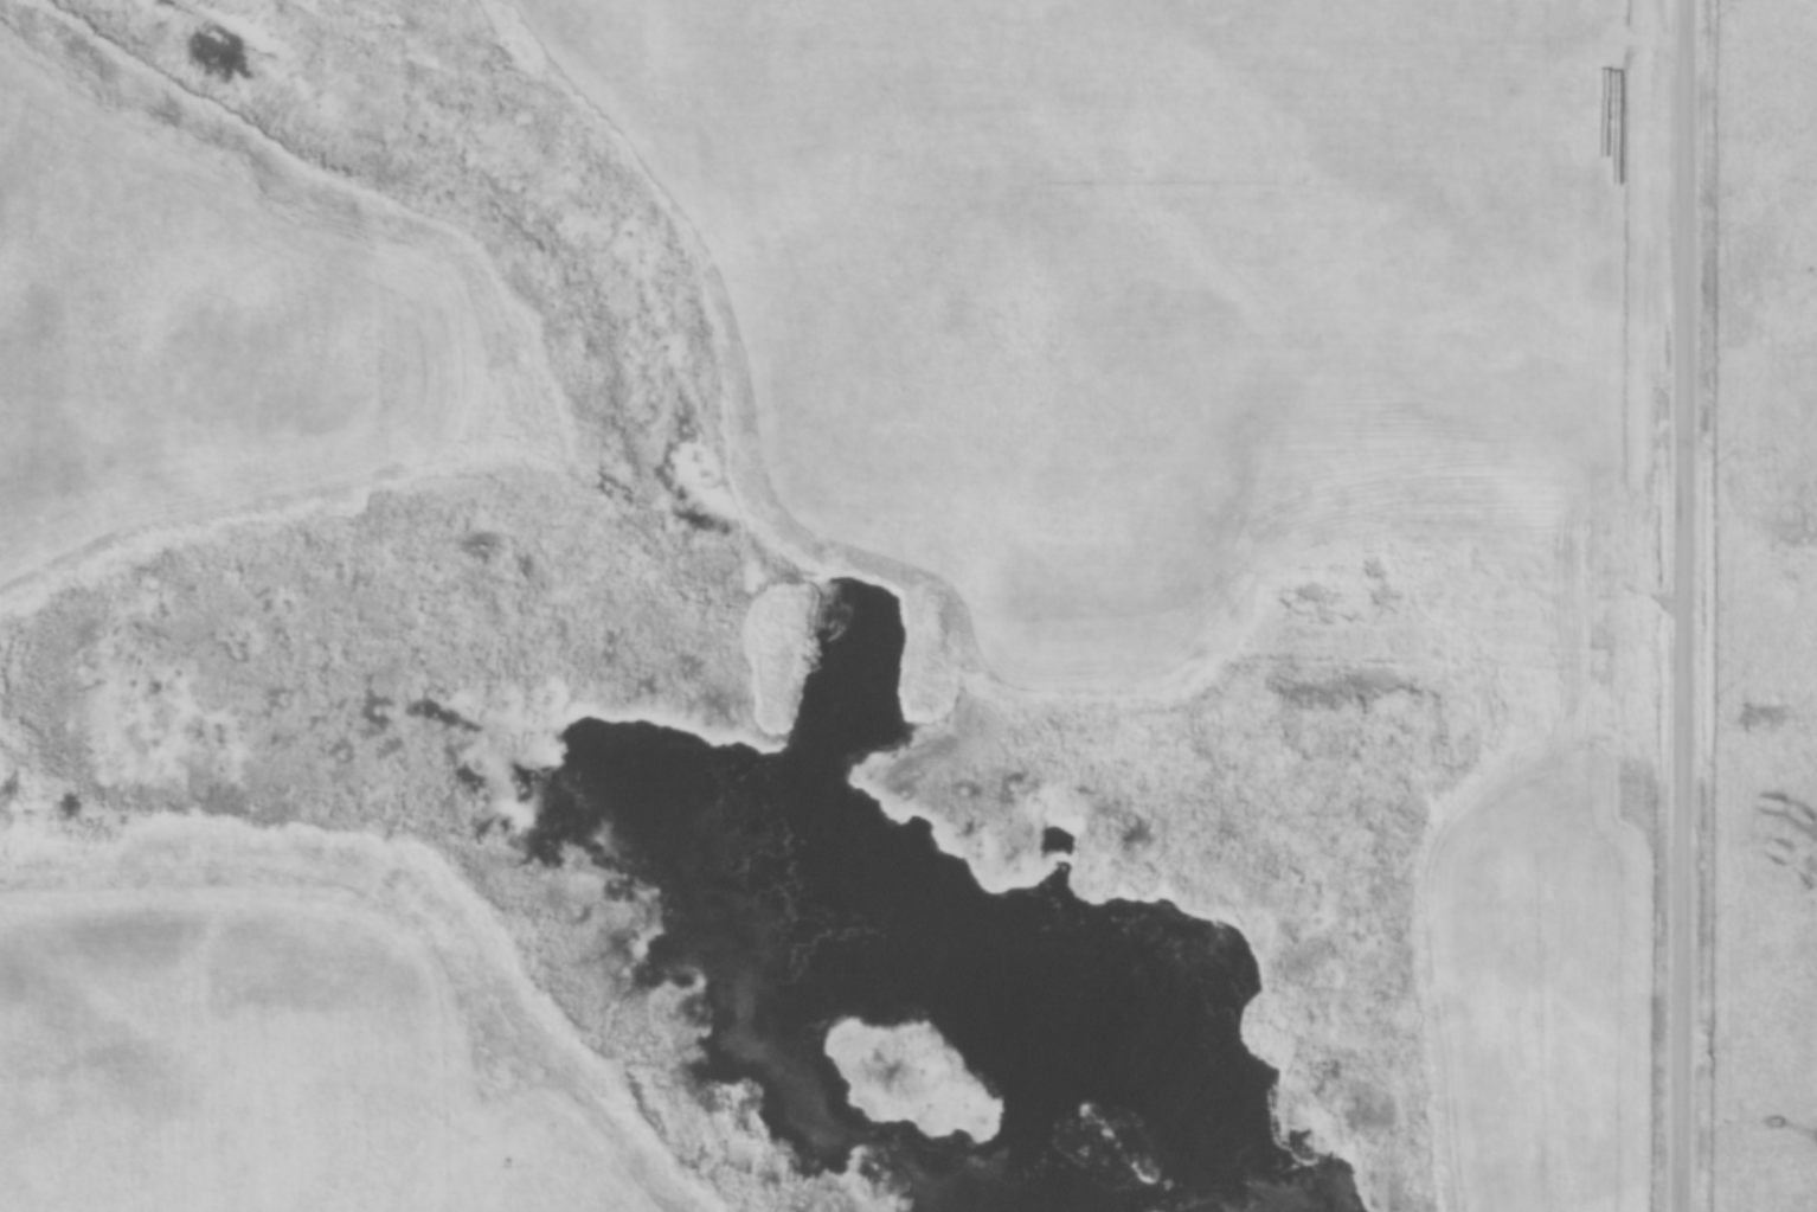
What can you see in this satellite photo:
road: (1694, 605)

